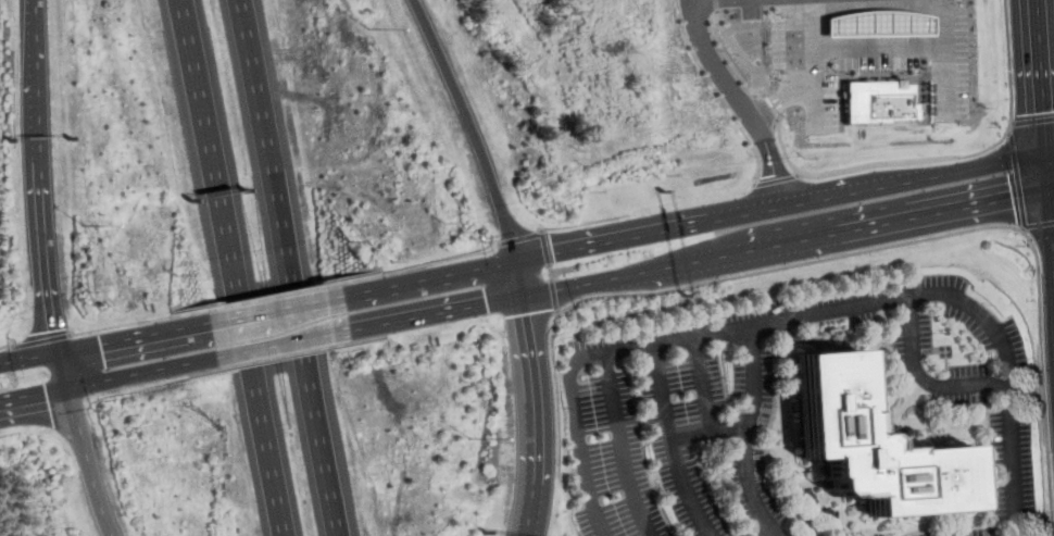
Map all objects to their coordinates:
road: (707, 2)
road: (722, 7)
building: (878, 23)
road: (40, 42)
road: (875, 49)
road: (946, 51)
road: (728, 60)
parking lot: (950, 62)
road: (802, 72)
road: (204, 75)
road: (1042, 76)
parking lot: (816, 88)
road: (742, 100)
building: (879, 101)
traffic signals: (1044, 111)
road: (769, 114)
road: (1032, 122)
road: (475, 126)
road: (1050, 151)
road: (973, 152)
road: (786, 154)
road: (756, 158)
road: (1047, 171)
road: (777, 184)
road: (879, 186)
road: (1021, 194)
traffic signals: (1013, 198)
road: (649, 210)
road: (45, 219)
road: (1051, 235)
road: (520, 237)
road: (547, 246)
traffic signals: (556, 253)
road: (522, 260)
road: (695, 261)
road: (300, 266)
road: (795, 266)
road: (413, 267)
road: (551, 272)
road: (522, 278)
road: (277, 295)
road: (555, 297)
traffic signals: (487, 303)
road: (279, 308)
road: (846, 310)
traffic signals: (525, 314)
road: (149, 321)
traffic signals: (52, 329)
road: (142, 335)
road: (793, 335)
road: (45, 342)
road: (256, 342)
road: (286, 342)
traffic signals: (102, 344)
road: (8, 349)
road: (28, 358)
road: (61, 370)
road: (117, 376)
road: (925, 379)
road: (1045, 384)
road: (703, 385)
traffic signals: (46, 391)
road: (909, 396)
parking lot: (736, 404)
road: (532, 415)
road: (713, 431)
road: (674, 444)
building: (871, 446)
road: (623, 447)
road: (767, 448)
road: (87, 461)
parking lot: (1014, 464)
road: (748, 483)
road: (593, 497)
road: (993, 510)
parking lot: (781, 532)
parking lot: (961, 533)
road: (769, 534)

